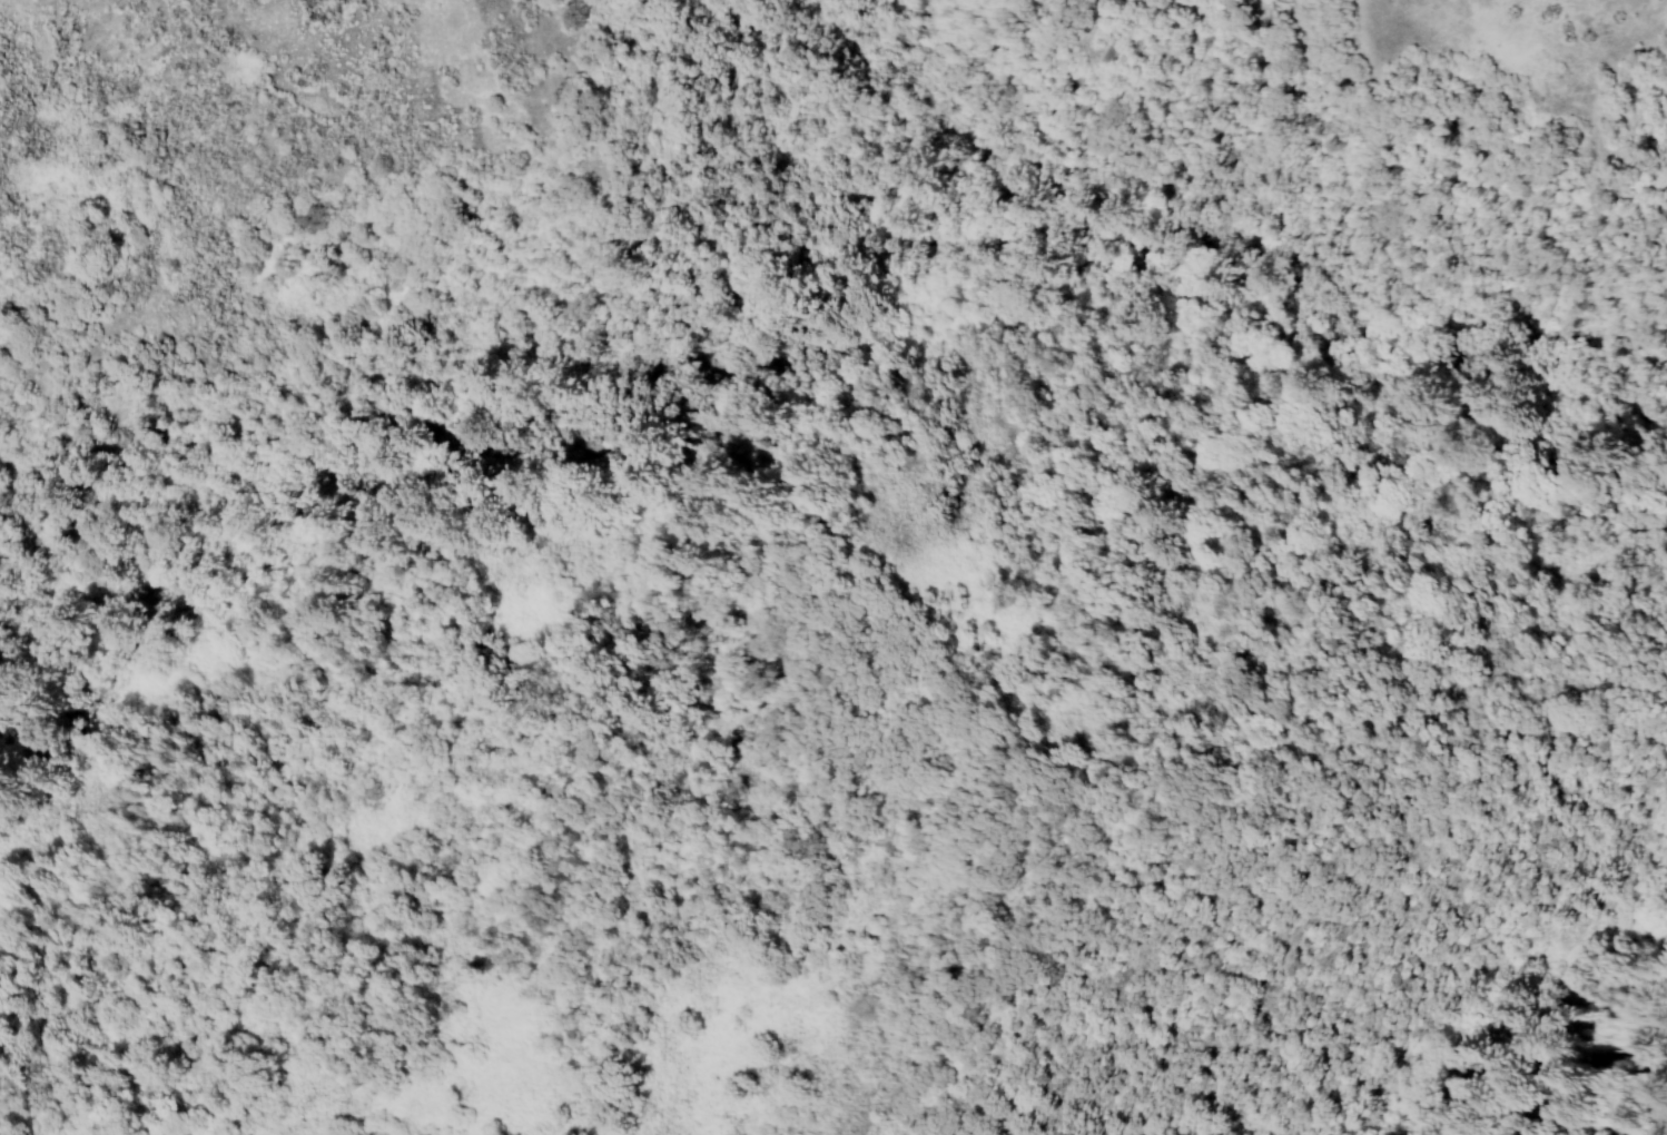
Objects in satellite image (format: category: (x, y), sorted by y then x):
road: (783, 720)

